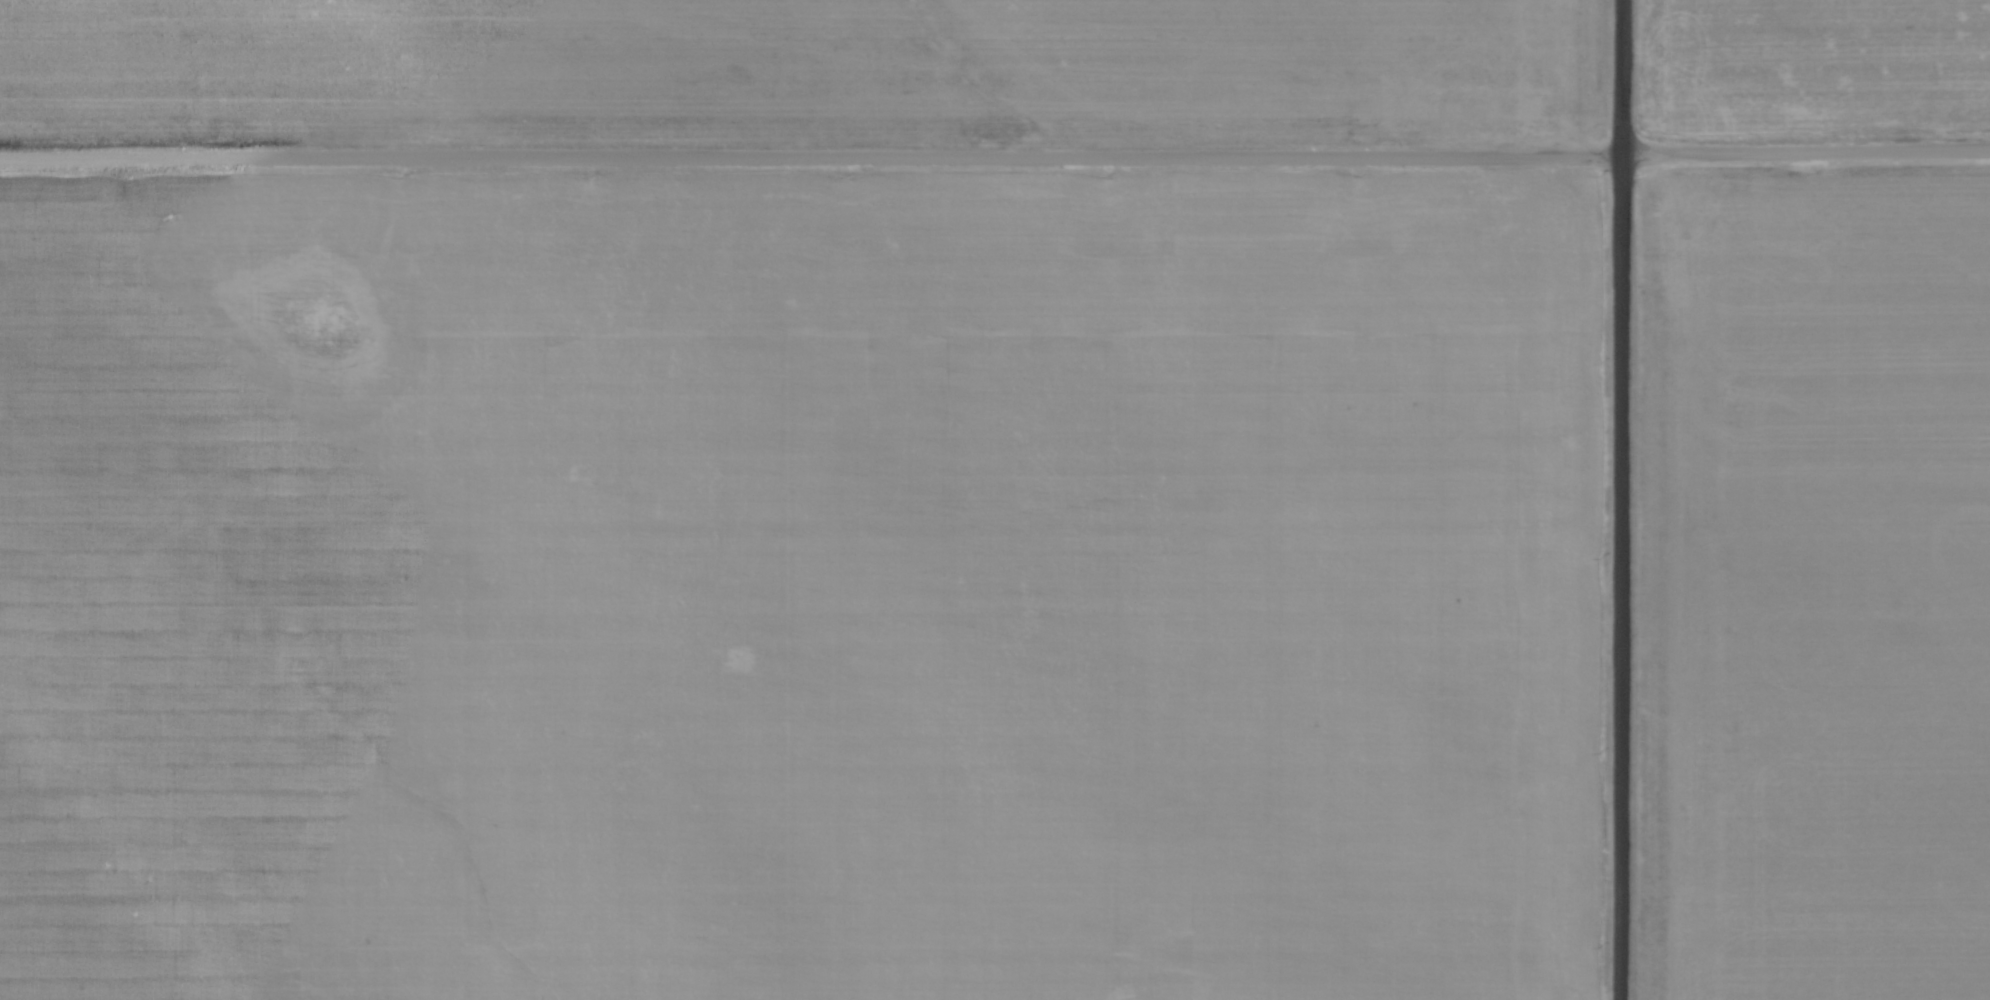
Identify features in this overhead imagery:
road: (995, 156)
road: (1622, 499)

